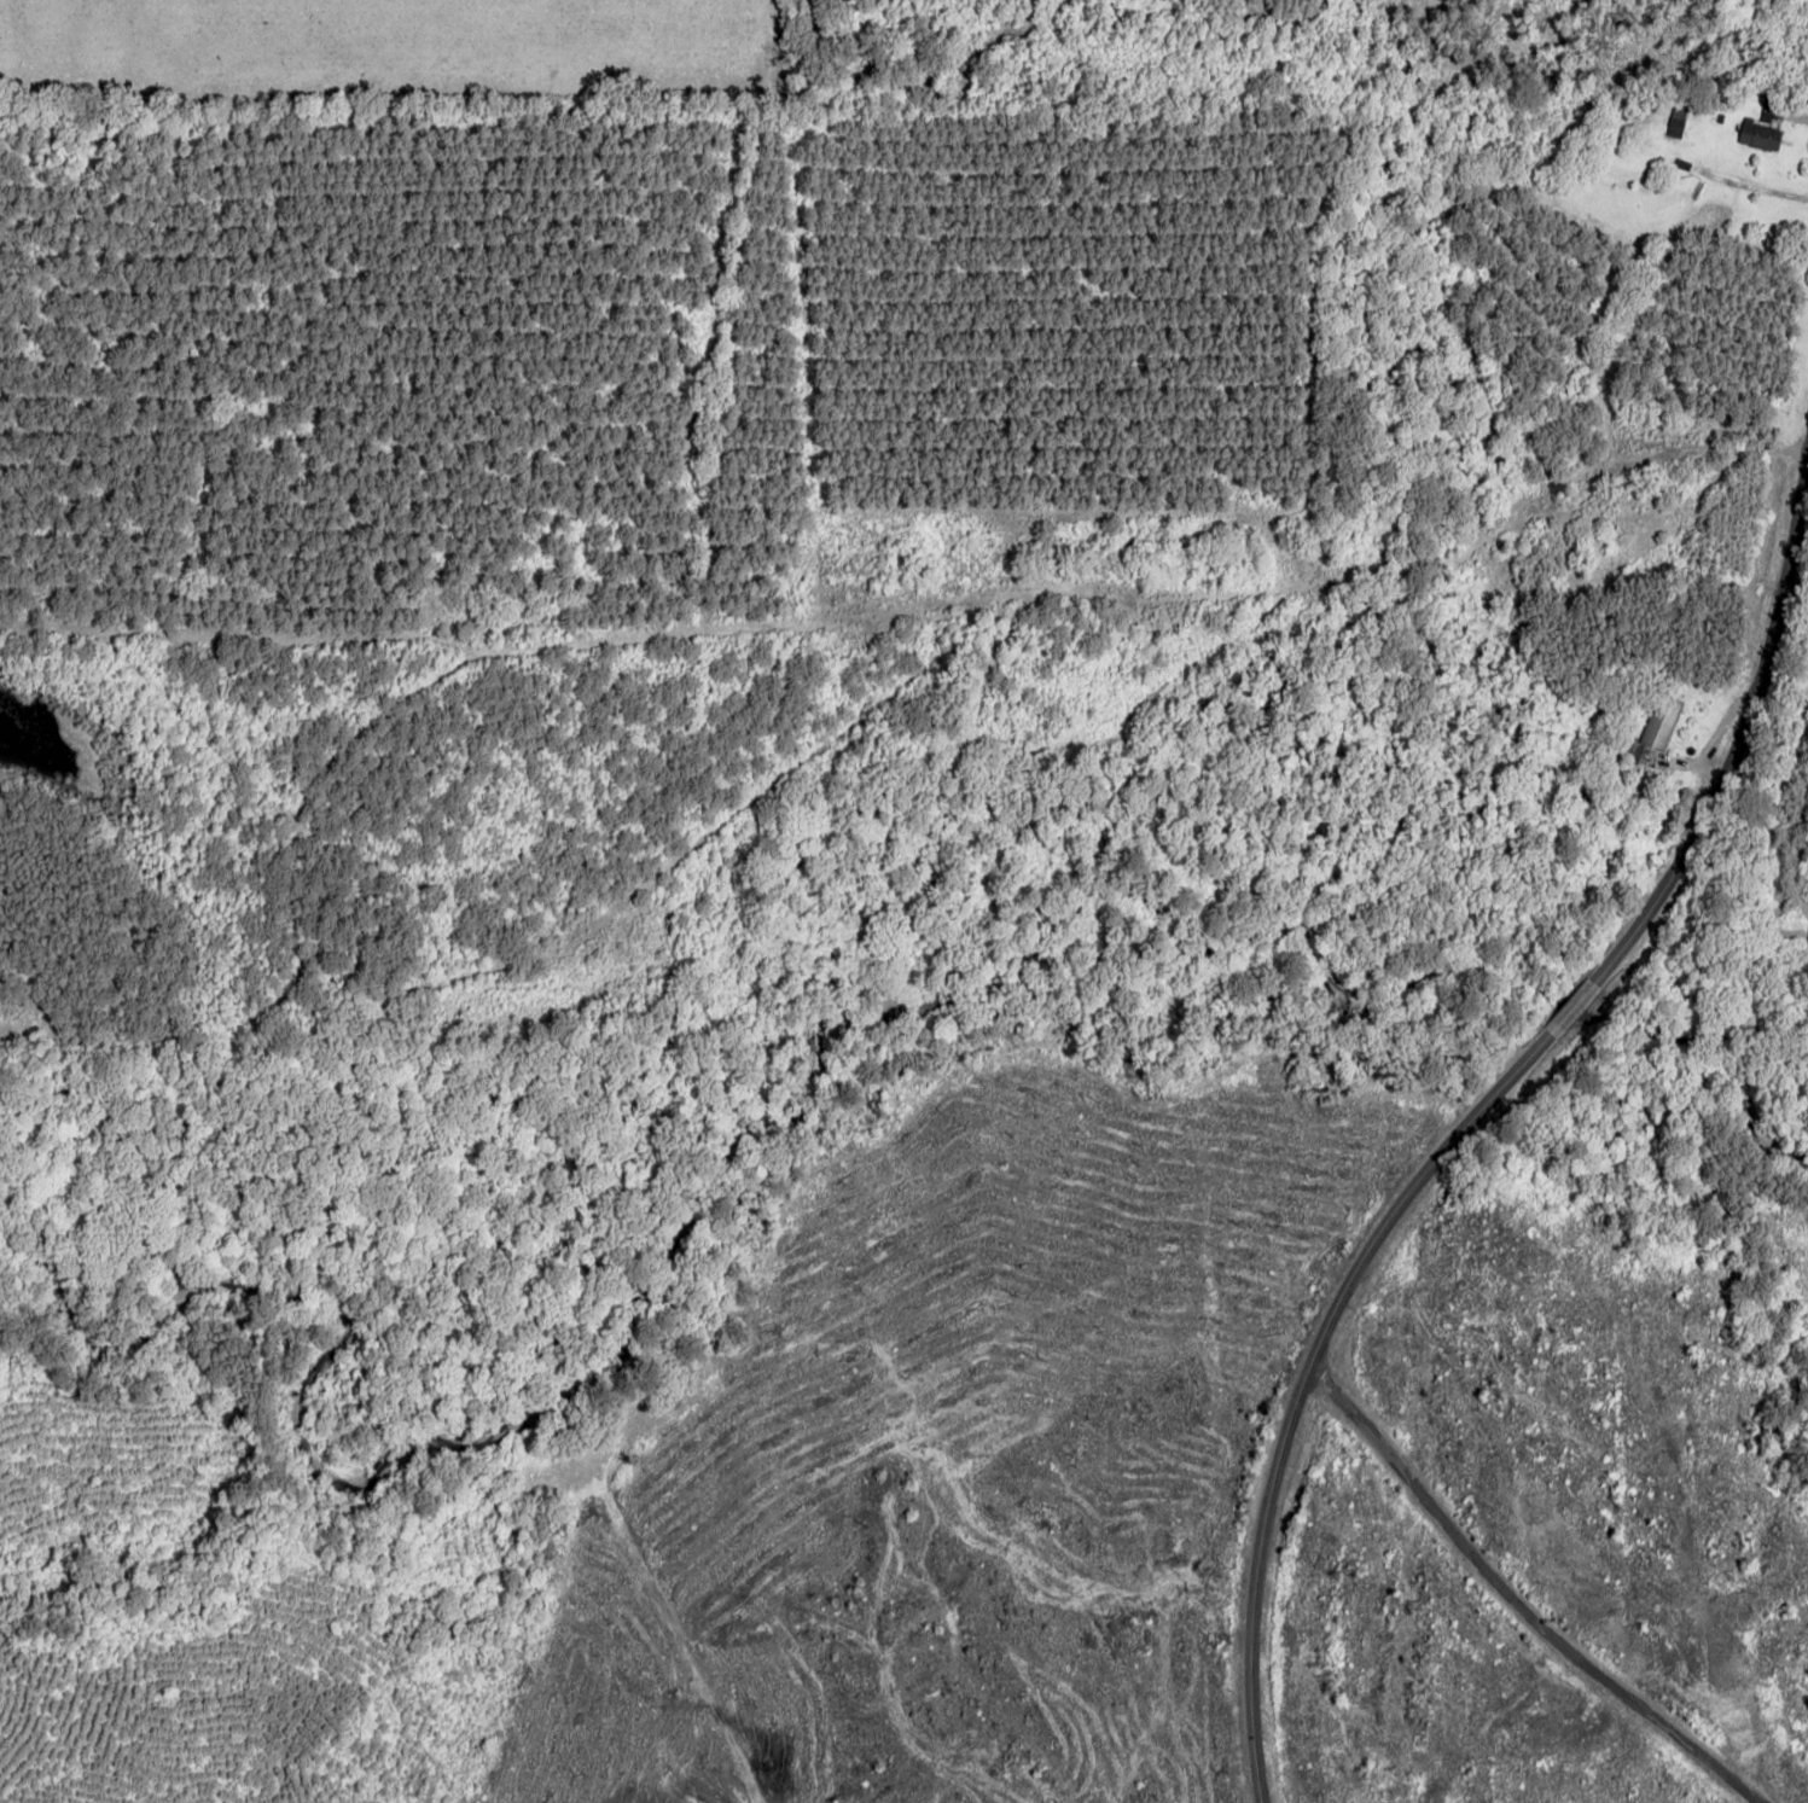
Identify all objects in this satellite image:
building: (1675, 121)
building: (1758, 134)
building: (1661, 721)
road: (1525, 1121)
road: (1338, 1456)
road: (1525, 1646)

